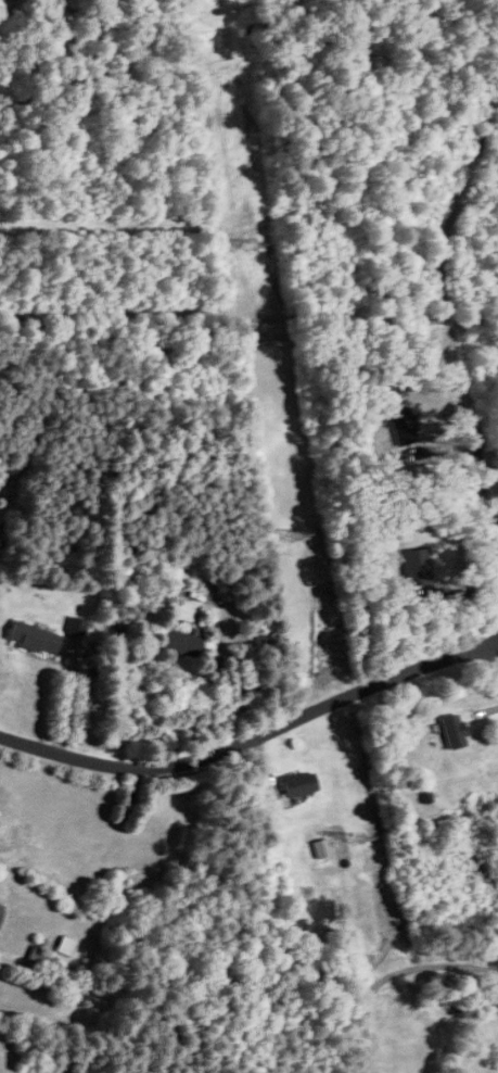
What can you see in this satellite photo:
power tower: (248, 240)
road: (484, 519)
power tower: (294, 531)
building: (76, 627)
road: (497, 629)
building: (34, 639)
building: (180, 644)
building: (454, 733)
road: (253, 734)
building: (298, 784)
power tower: (355, 834)
building: (1, 909)
building: (66, 947)
building: (37, 957)

